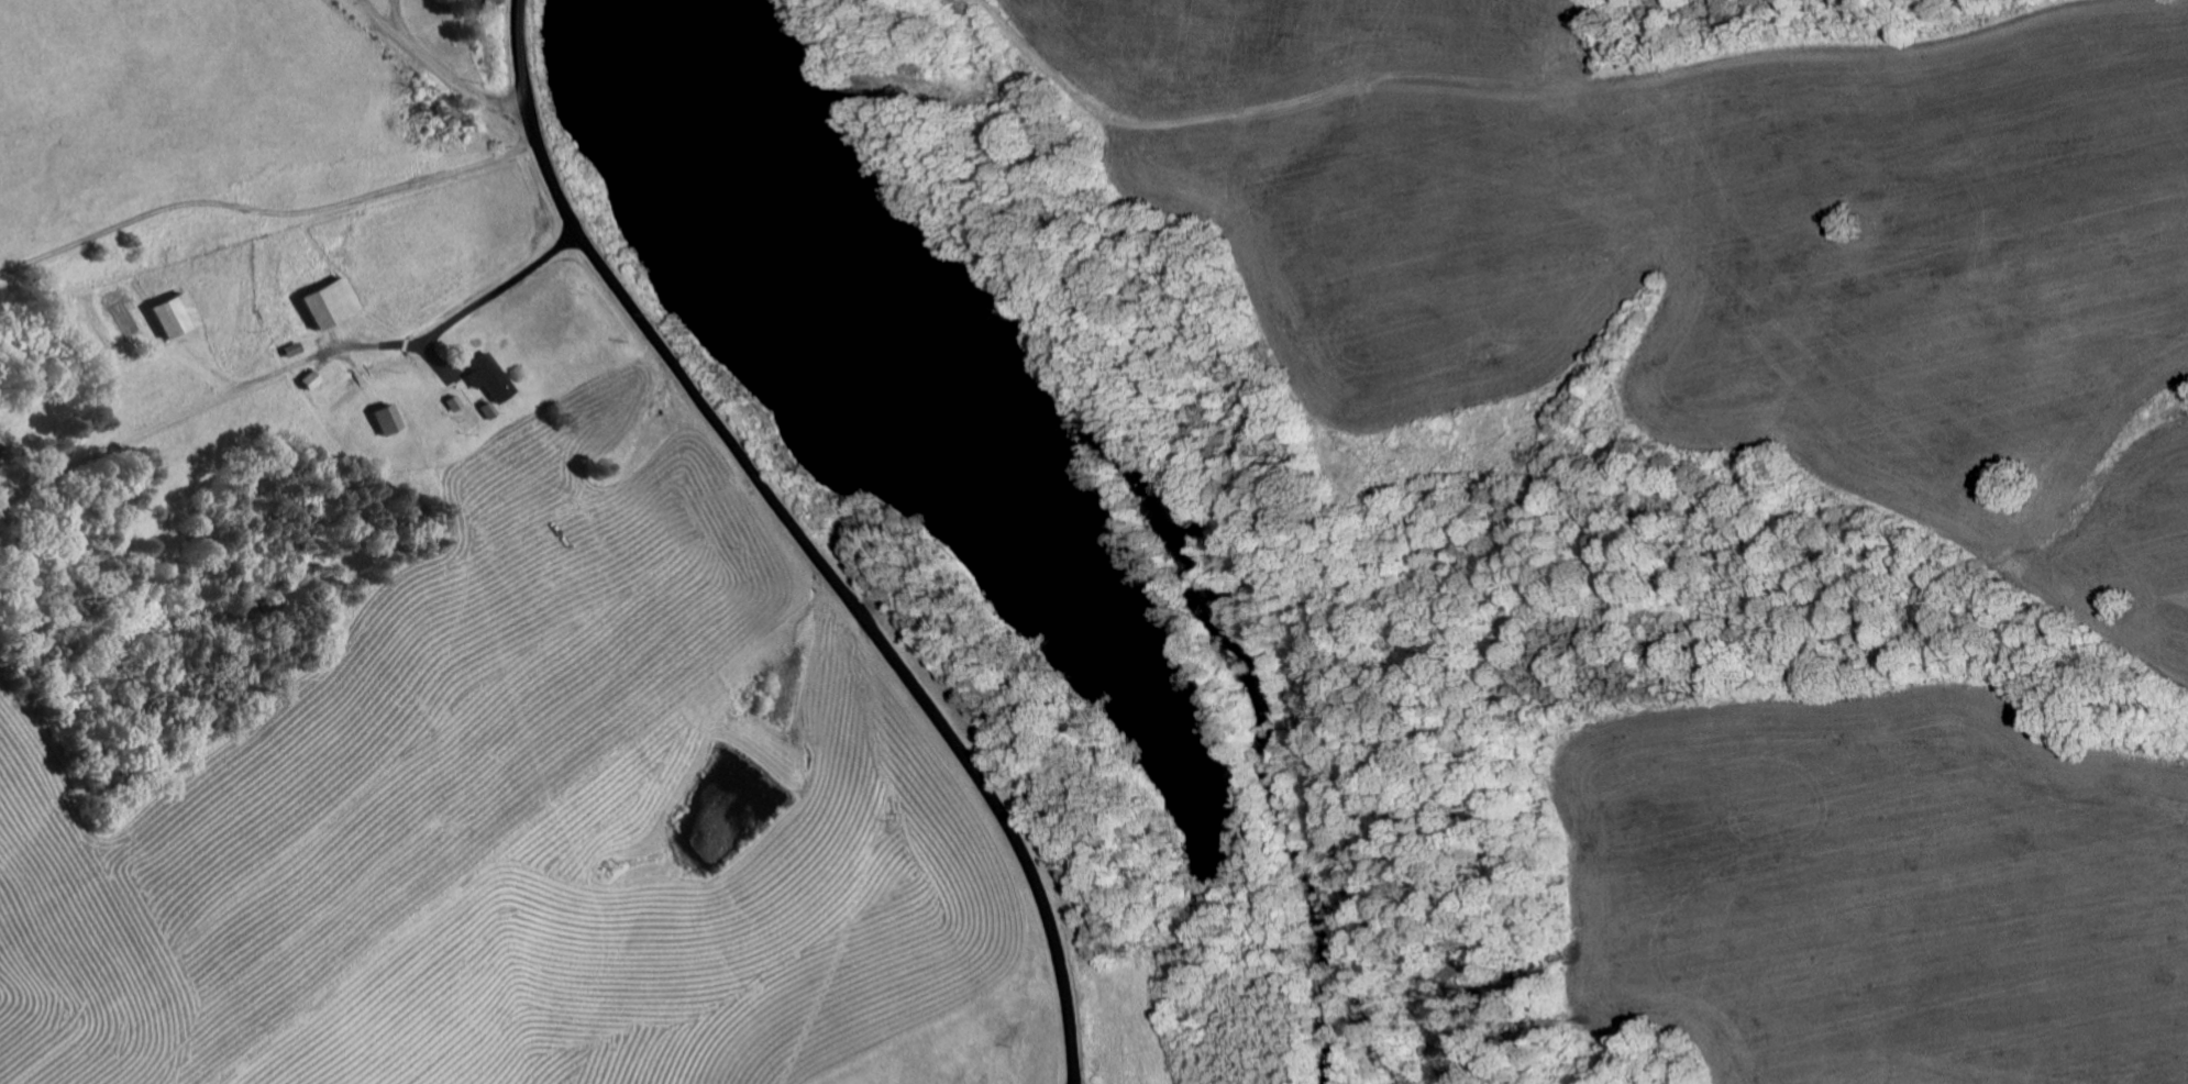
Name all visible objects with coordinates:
road: (420, 68)
road: (1099, 219)
road: (1691, 262)
building: (327, 306)
building: (170, 318)
building: (288, 353)
building: (486, 381)
building: (307, 383)
road: (294, 390)
building: (451, 407)
building: (386, 422)
road: (805, 538)

